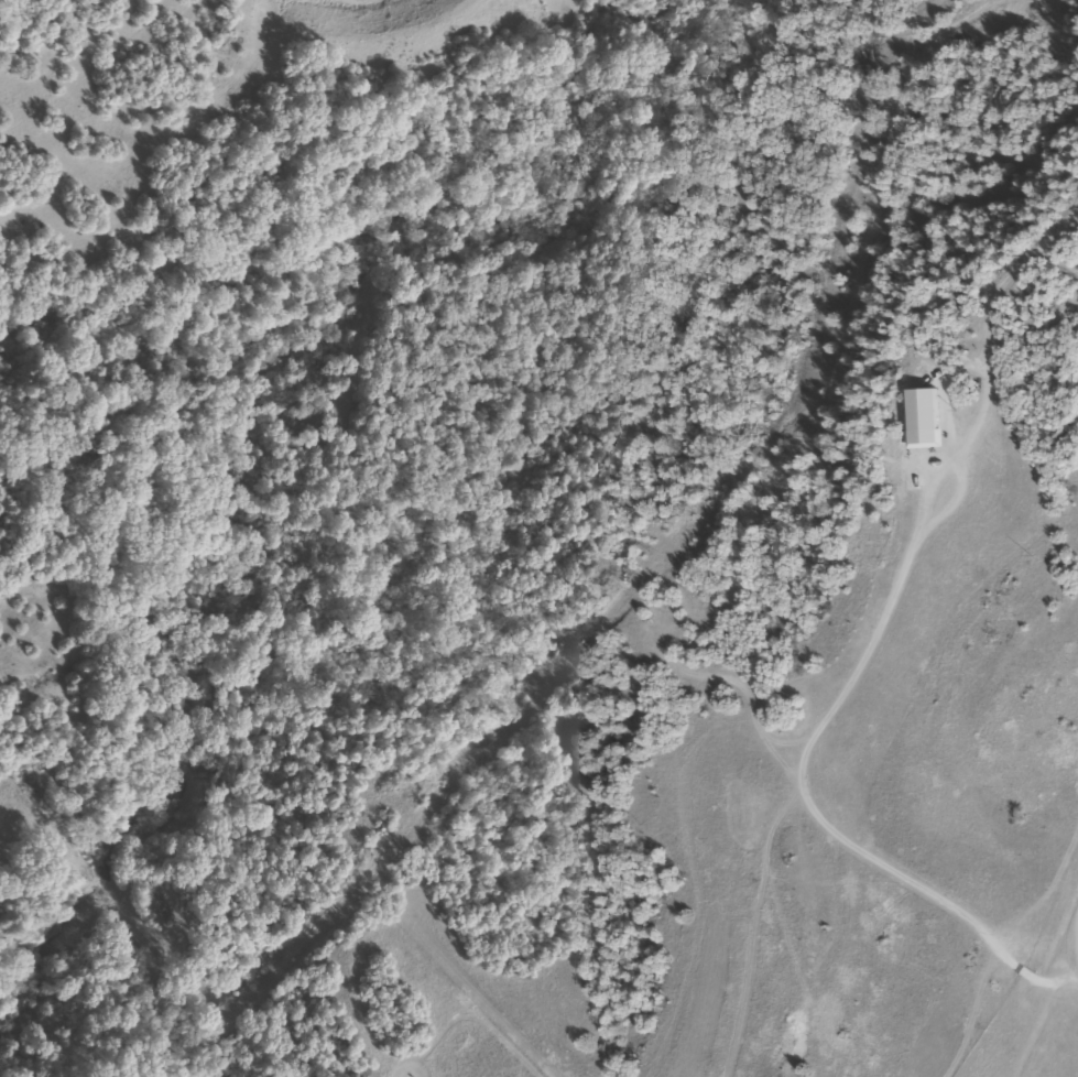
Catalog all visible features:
road: (809, 815)
road: (1071, 949)

